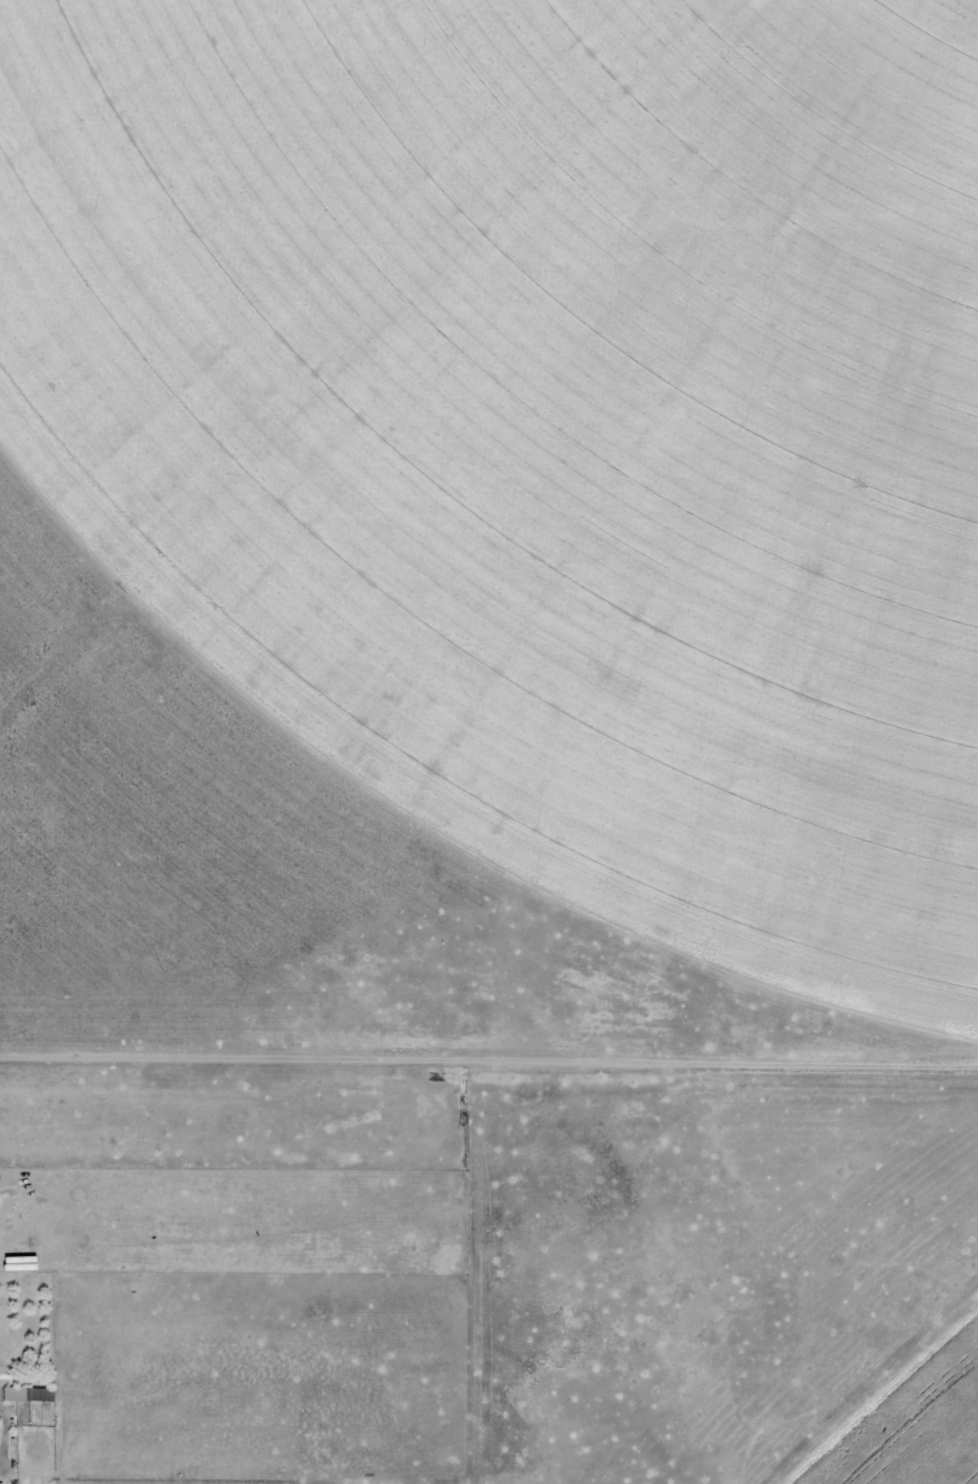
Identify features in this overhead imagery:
building: (27, 1393)

